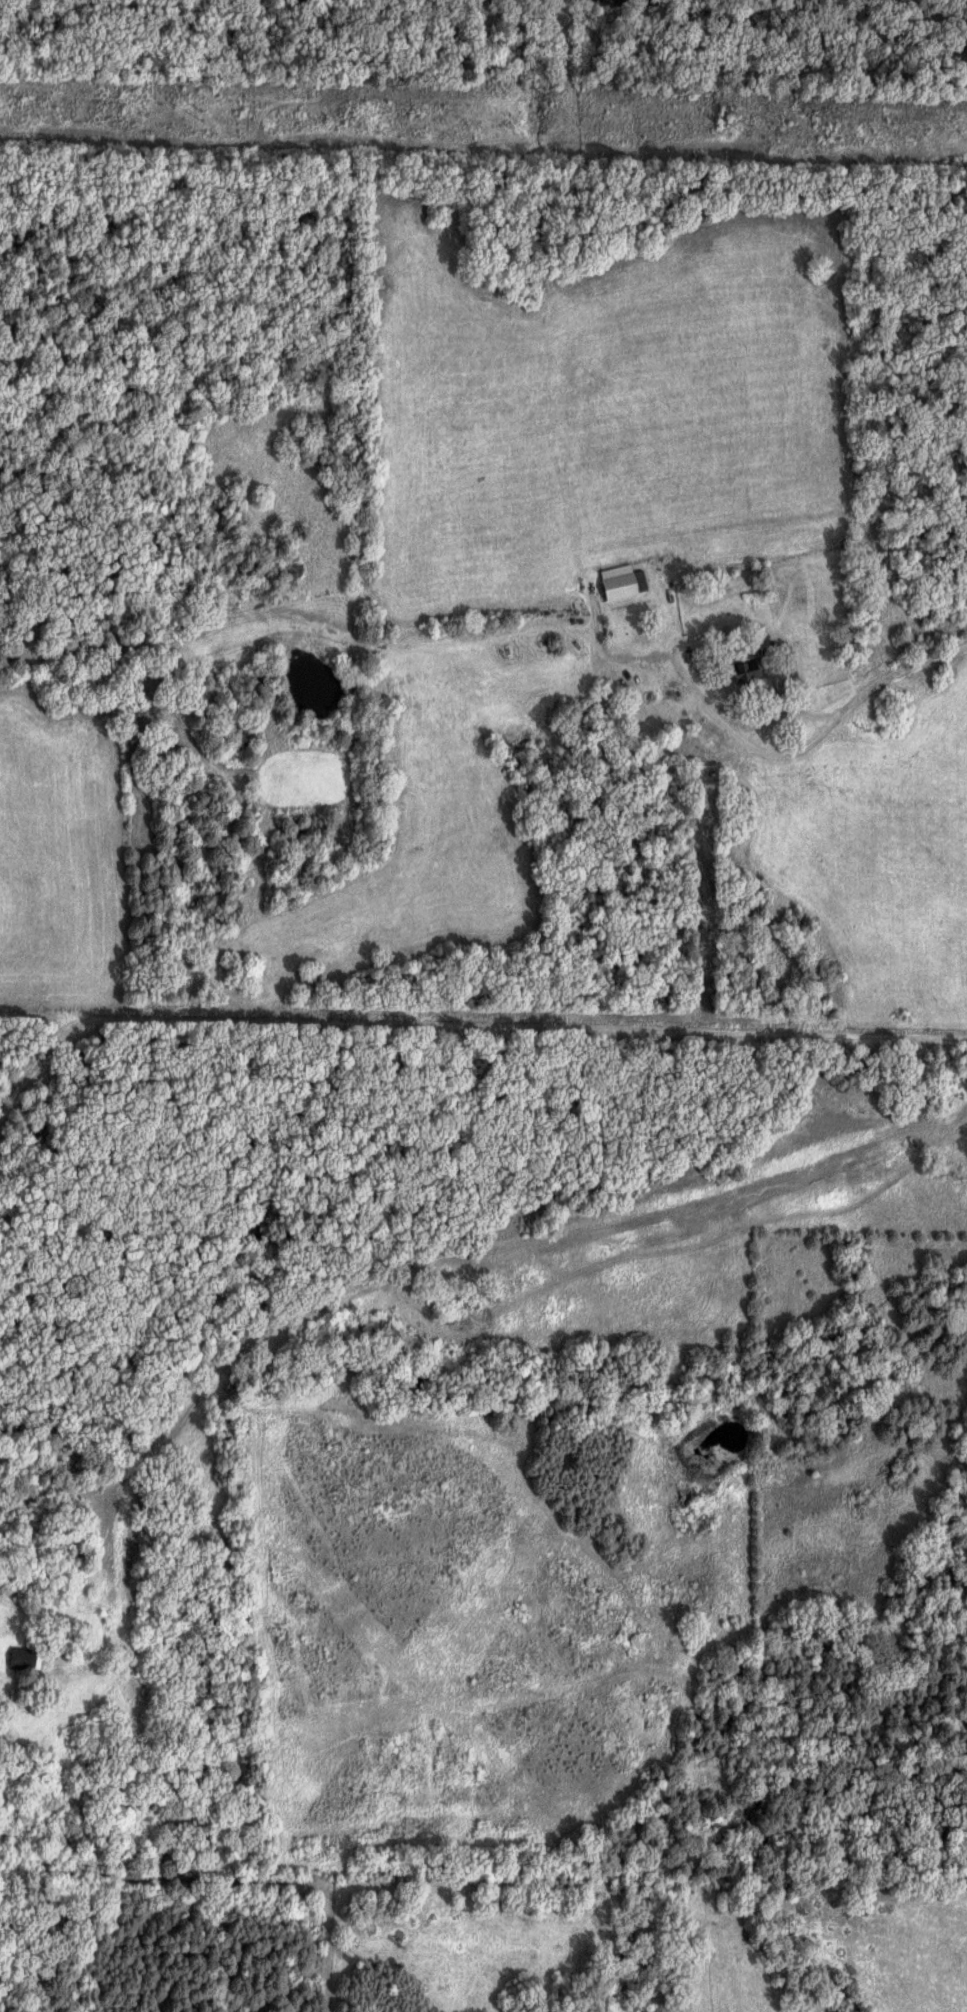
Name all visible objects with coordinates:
power tower: (199, 115)
power tower: (746, 130)
building: (626, 581)
building: (752, 670)
road: (757, 712)
road: (789, 744)
road: (465, 1015)
road: (414, 1273)
road: (36, 1648)
building: (28, 1657)

